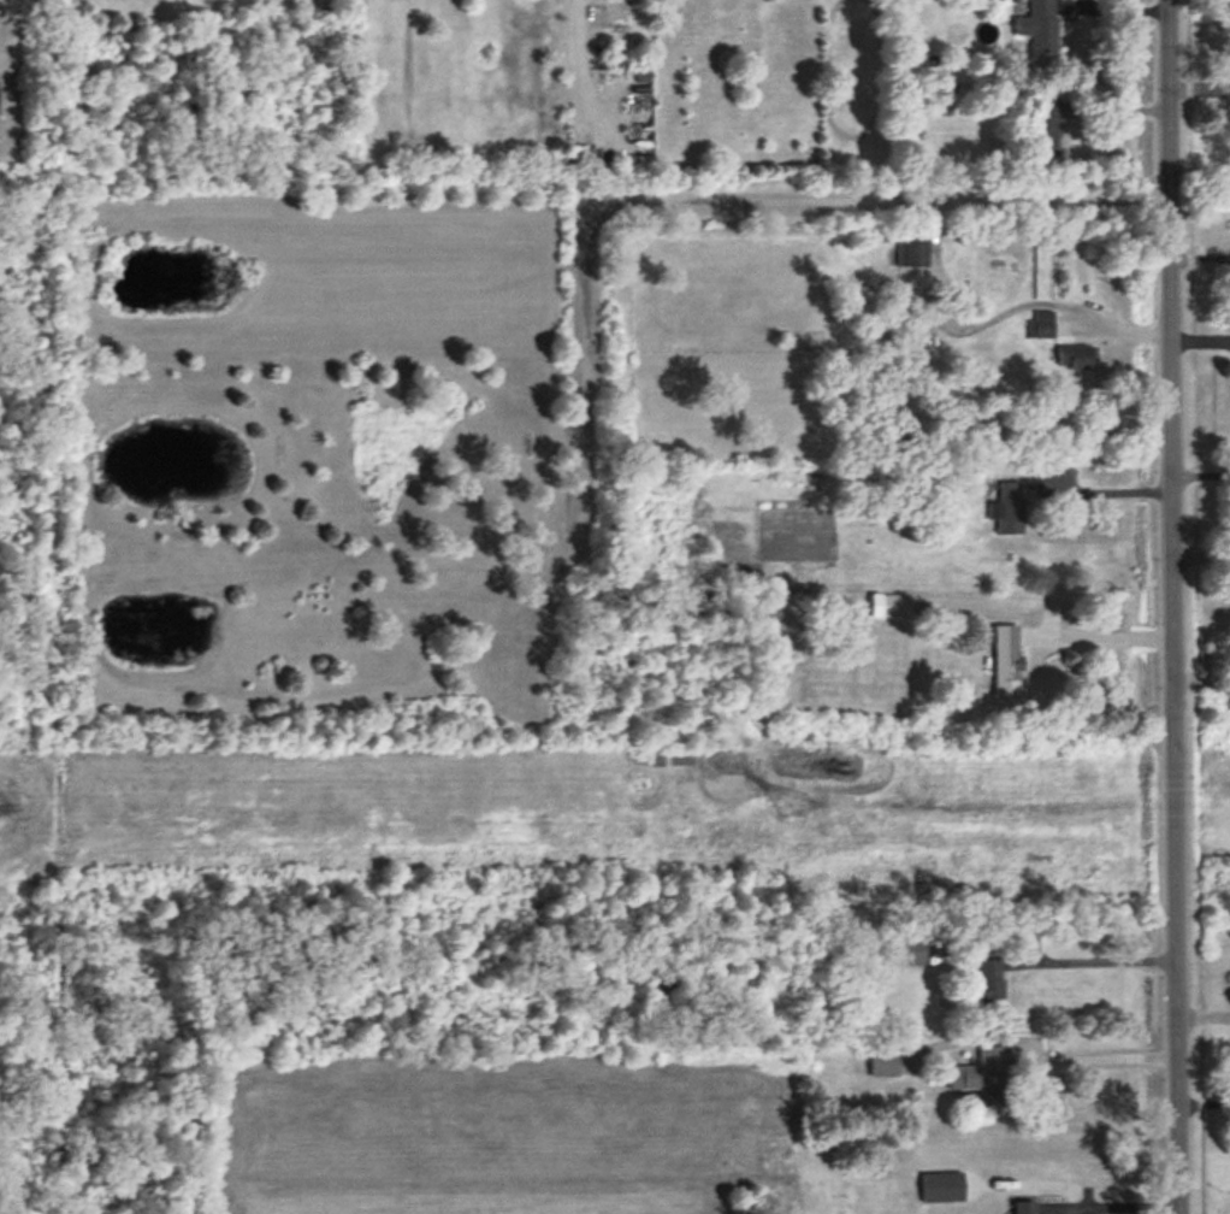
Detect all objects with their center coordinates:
building: (1037, 26)
building: (1045, 128)
road: (888, 199)
building: (912, 253)
building: (1041, 325)
building: (1075, 356)
road: (1108, 490)
building: (1007, 508)
building: (888, 607)
road: (1172, 607)
road: (1096, 637)
building: (1006, 661)
power tower: (794, 806)
building: (910, 953)
road: (1098, 955)
building: (989, 984)
road: (1095, 1053)
building: (883, 1063)
building: (980, 1080)
building: (942, 1188)
building: (1023, 1207)

